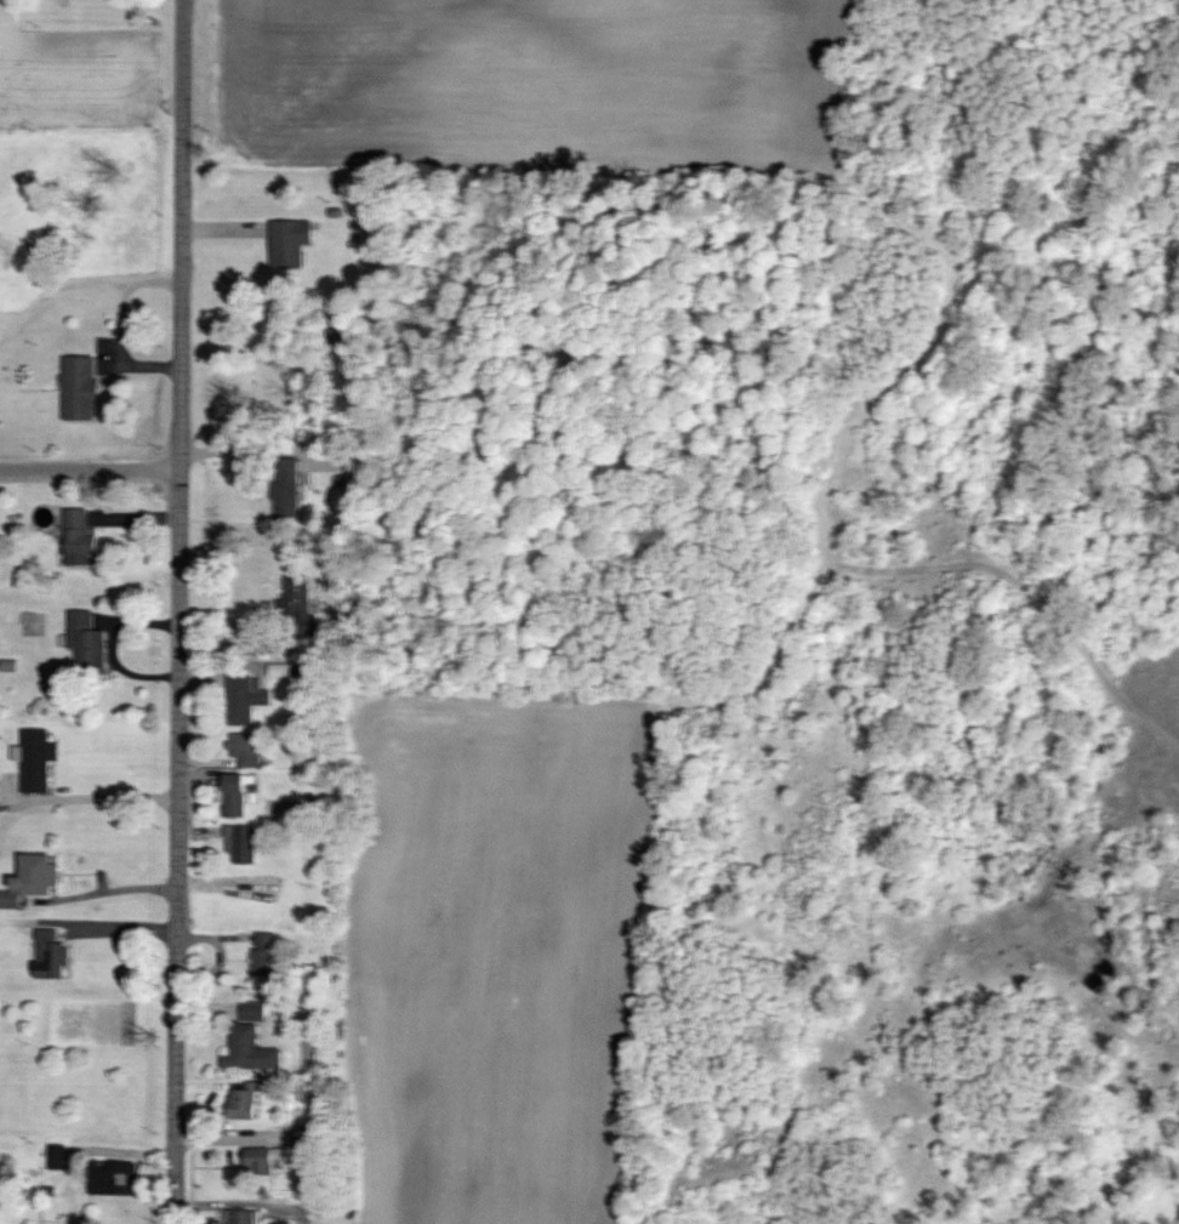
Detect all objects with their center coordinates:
building: (283, 244)
road: (177, 457)
road: (89, 468)
building: (289, 486)
building: (80, 537)
building: (86, 641)
building: (245, 696)
building: (246, 750)
building: (36, 759)
building: (235, 793)
road: (107, 799)
building: (241, 843)
building: (32, 879)
road: (110, 892)
building: (266, 955)
building: (51, 956)
building: (252, 1010)
building: (252, 1051)
road: (175, 1070)
building: (249, 1100)
building: (281, 1152)
building: (61, 1157)
building: (116, 1178)
road: (241, 1203)
building: (247, 1217)

